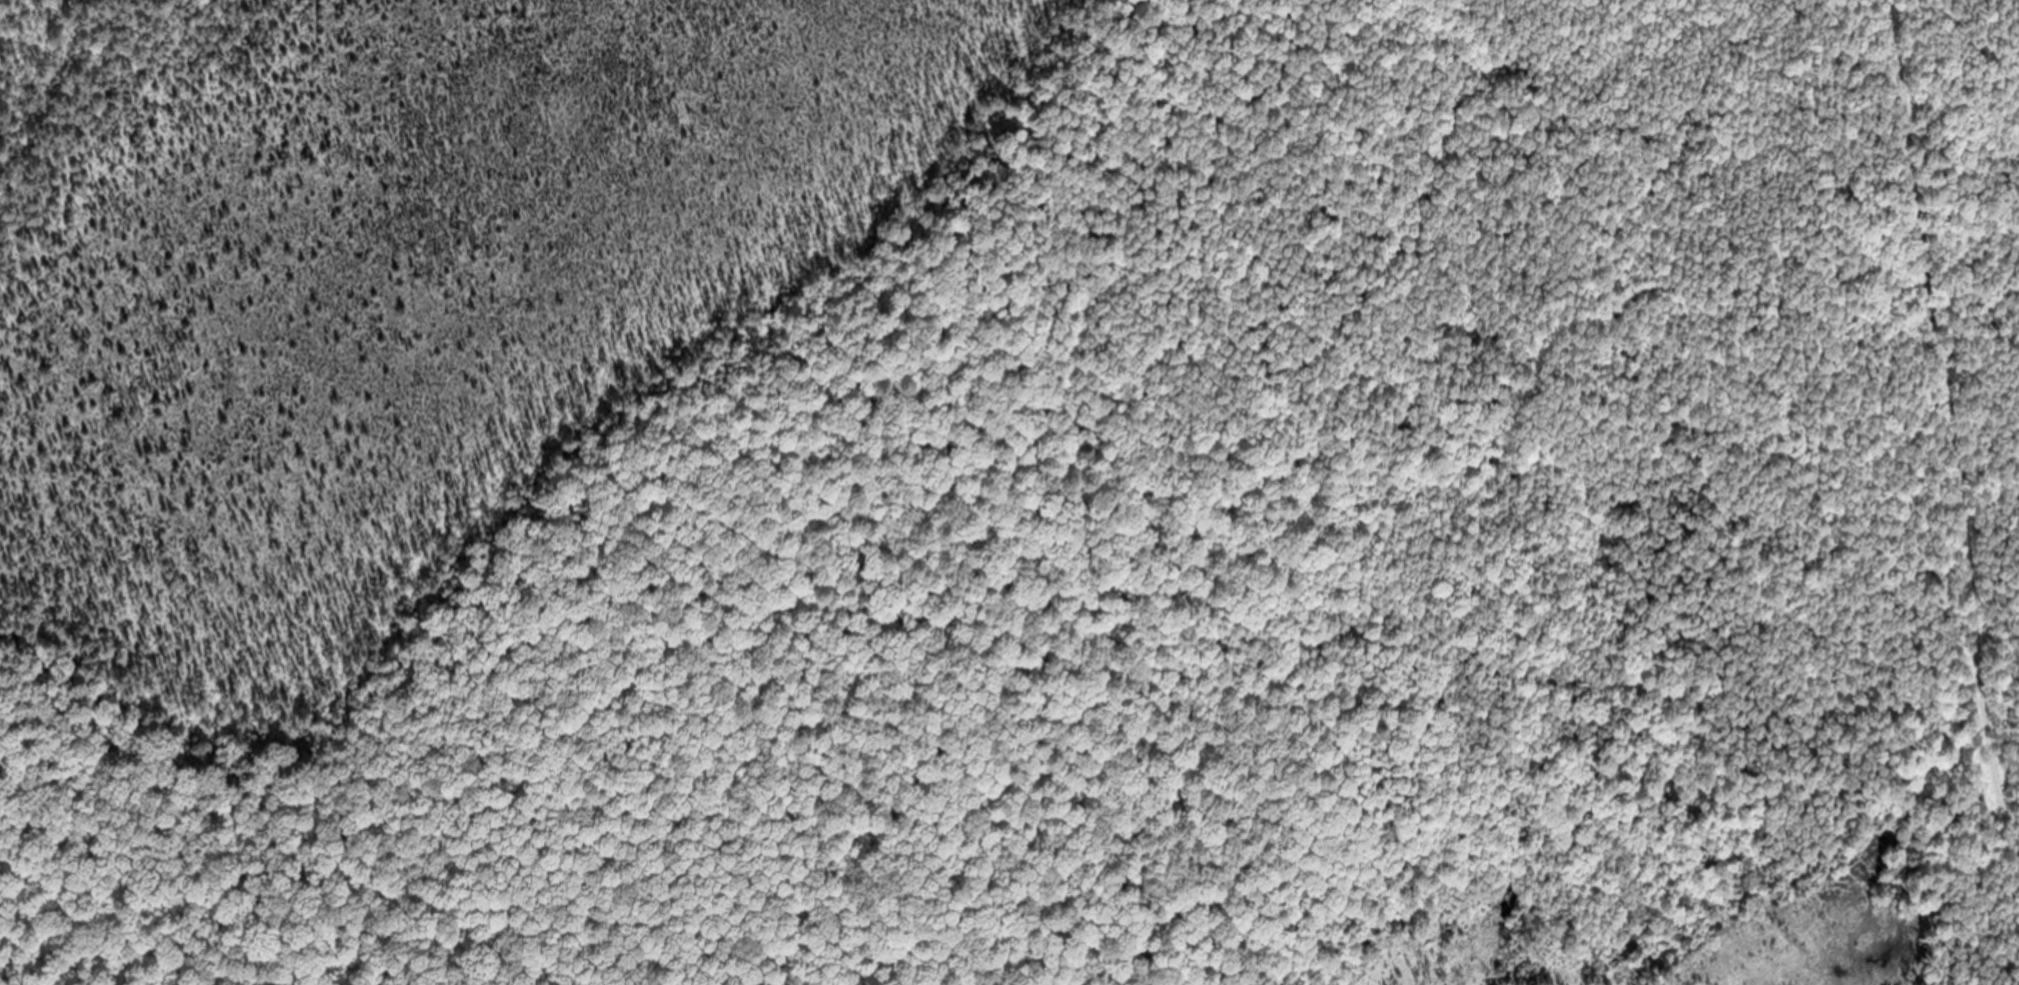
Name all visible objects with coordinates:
road: (1948, 427)

